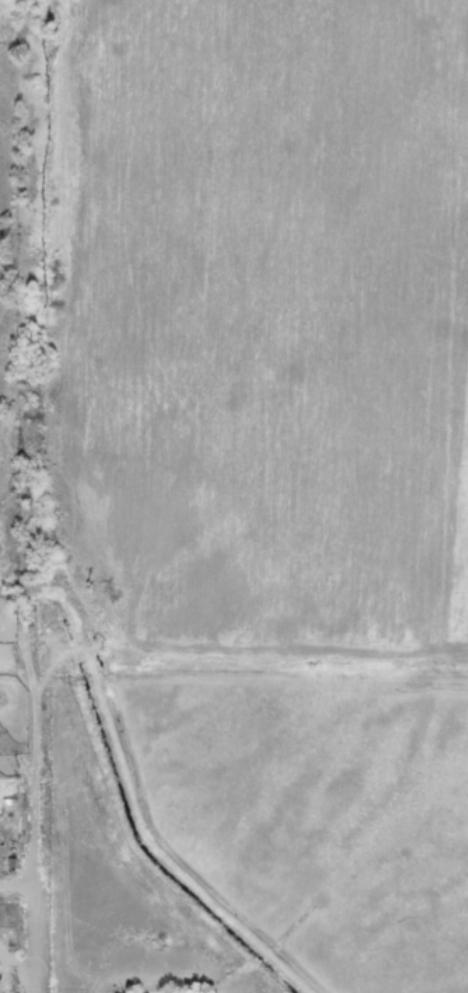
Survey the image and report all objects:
road: (33, 919)
road: (15, 965)
road: (32, 985)
road: (32, 992)

